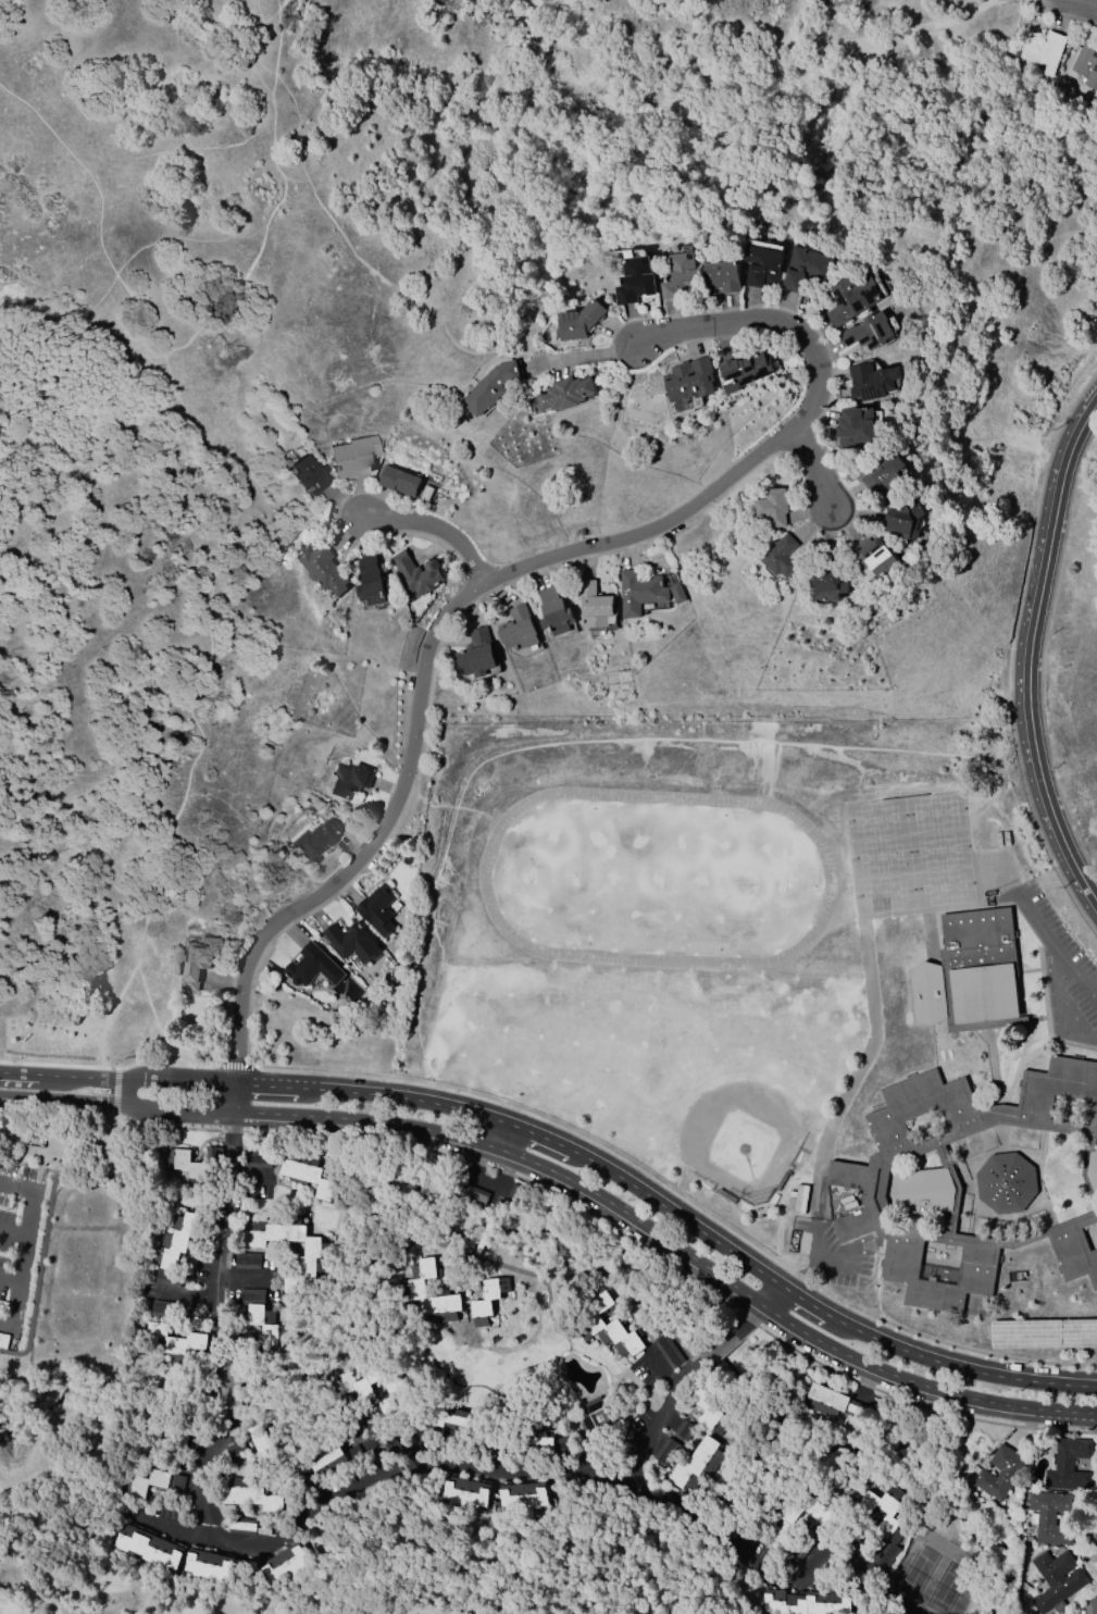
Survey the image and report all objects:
road: (1075, 5)
building: (1038, 52)
building: (1086, 63)
road: (338, 228)
building: (760, 266)
building: (805, 269)
building: (677, 276)
building: (720, 277)
building: (633, 281)
building: (850, 298)
building: (579, 321)
road: (772, 323)
building: (867, 332)
road: (584, 358)
building: (744, 372)
building: (689, 380)
building: (872, 381)
building: (493, 387)
building: (564, 394)
building: (853, 426)
building: (352, 457)
road: (814, 462)
building: (882, 472)
building: (309, 475)
building: (397, 480)
building: (773, 508)
building: (902, 520)
road: (426, 530)
building: (875, 551)
building: (780, 556)
road: (207, 561)
building: (322, 564)
building: (416, 572)
building: (370, 580)
building: (830, 584)
building: (639, 589)
building: (675, 593)
building: (595, 604)
building: (553, 609)
building: (518, 626)
building: (476, 651)
road: (1040, 651)
road: (1029, 655)
road: (422, 678)
building: (349, 780)
building: (315, 839)
park: (656, 876)
track: (828, 877)
building: (375, 908)
road: (1038, 927)
building: (349, 941)
building: (197, 963)
building: (311, 966)
parking lot: (1060, 967)
building: (969, 973)
road: (1082, 977)
road: (1063, 1004)
road: (165, 1058)
road: (234, 1065)
park: (721, 1072)
road: (18, 1073)
road: (60, 1077)
road: (135, 1077)
road: (105, 1078)
road: (188, 1079)
road: (269, 1084)
road: (325, 1089)
road: (115, 1090)
road: (127, 1091)
road: (235, 1096)
road: (63, 1101)
road: (428, 1103)
road: (180, 1108)
road: (367, 1120)
road: (167, 1127)
road: (234, 1130)
road: (503, 1137)
road: (539, 1138)
road: (481, 1156)
building: (258, 1157)
road: (585, 1158)
building: (195, 1163)
building: (308, 1174)
road: (510, 1174)
road: (89, 1177)
building: (1005, 1181)
road: (501, 1183)
building: (926, 1184)
road: (682, 1196)
road: (634, 1219)
road: (689, 1224)
road: (13, 1231)
building: (287, 1239)
parking lot: (16, 1241)
road: (25, 1249)
building: (173, 1251)
road: (812, 1265)
road: (38, 1274)
road: (10, 1277)
building: (292, 1289)
building: (416, 1292)
road: (770, 1295)
building: (488, 1300)
road: (802, 1301)
building: (261, 1316)
road: (749, 1320)
building: (608, 1325)
road: (847, 1326)
building: (1044, 1330)
building: (175, 1344)
road: (662, 1370)
road: (980, 1371)
road: (921, 1386)
building: (832, 1403)
road: (918, 1405)
building: (707, 1406)
building: (600, 1417)
building: (445, 1423)
building: (718, 1427)
building: (544, 1440)
building: (264, 1441)
building: (1069, 1465)
building: (322, 1467)
building: (696, 1467)
building: (1000, 1473)
building: (153, 1482)
building: (253, 1493)
building: (463, 1494)
building: (519, 1494)
building: (808, 1513)
building: (1051, 1516)
road: (310, 1519)
building: (884, 1522)
road: (695, 1527)
road: (185, 1534)
building: (148, 1548)
building: (286, 1563)
building: (212, 1568)
park: (931, 1576)
building: (1057, 1580)
building: (803, 1602)
building: (1089, 1603)

